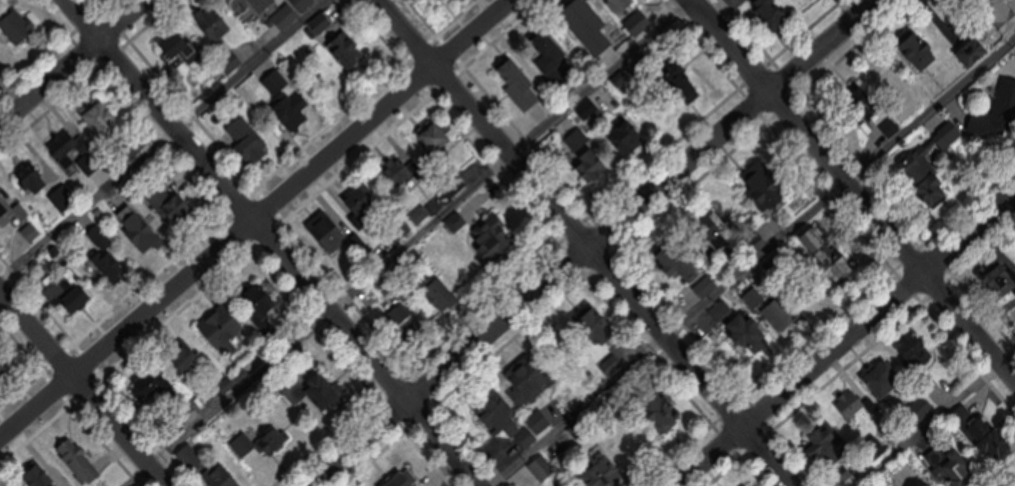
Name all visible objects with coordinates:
building: (440, 0)
building: (1002, 2)
building: (260, 4)
building: (301, 4)
building: (622, 5)
building: (772, 13)
building: (283, 16)
building: (212, 22)
building: (321, 23)
building: (15, 25)
building: (180, 46)
building: (547, 49)
building: (345, 50)
building: (974, 51)
building: (922, 52)
road: (74, 63)
building: (519, 85)
building: (284, 99)
building: (996, 108)
building: (100, 117)
building: (432, 135)
road: (159, 139)
building: (246, 139)
building: (628, 139)
building: (74, 153)
building: (587, 157)
building: (403, 172)
building: (924, 176)
building: (451, 183)
building: (46, 186)
building: (764, 187)
road: (853, 190)
building: (361, 200)
building: (172, 208)
building: (10, 210)
road: (254, 219)
building: (139, 231)
building: (334, 239)
building: (493, 241)
road: (590, 241)
road: (270, 242)
road: (406, 243)
road: (586, 243)
building: (105, 256)
building: (828, 257)
road: (751, 259)
building: (676, 260)
building: (1004, 283)
building: (67, 292)
building: (440, 295)
building: (753, 297)
building: (260, 302)
building: (780, 313)
building: (405, 322)
building: (596, 326)
building: (221, 333)
building: (751, 334)
road: (843, 338)
building: (916, 354)
building: (187, 359)
building: (527, 380)
building: (883, 380)
road: (83, 387)
building: (322, 392)
building: (853, 403)
building: (658, 411)
building: (497, 414)
road: (933, 416)
building: (537, 420)
building: (983, 433)
building: (525, 437)
building: (241, 444)
building: (827, 444)
building: (872, 448)
building: (76, 461)
building: (541, 467)
building: (955, 470)
building: (600, 474)
building: (37, 476)
building: (851, 477)
building: (409, 484)

